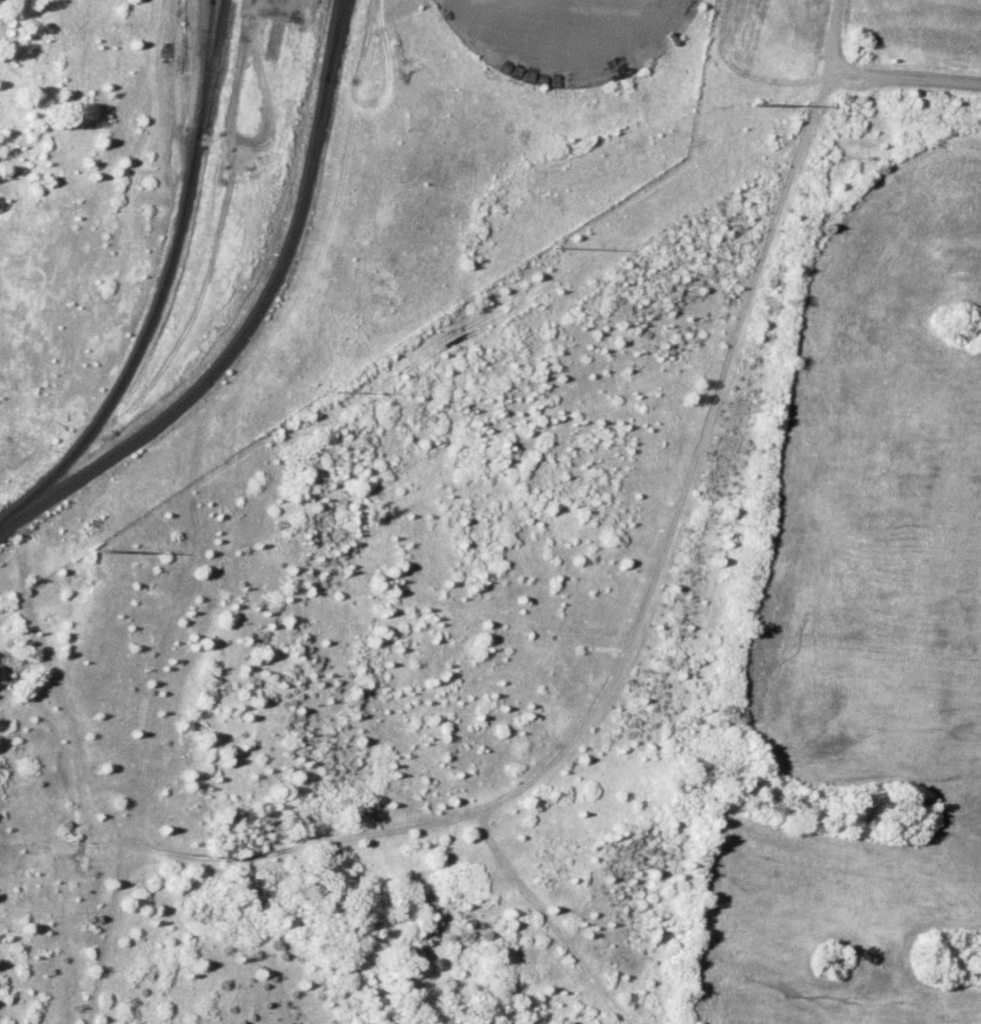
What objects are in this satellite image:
railway: (333, 38)
road: (836, 41)
railway: (202, 68)
railway: (251, 315)
railway: (135, 345)
road: (635, 628)
railway: (221, 778)

